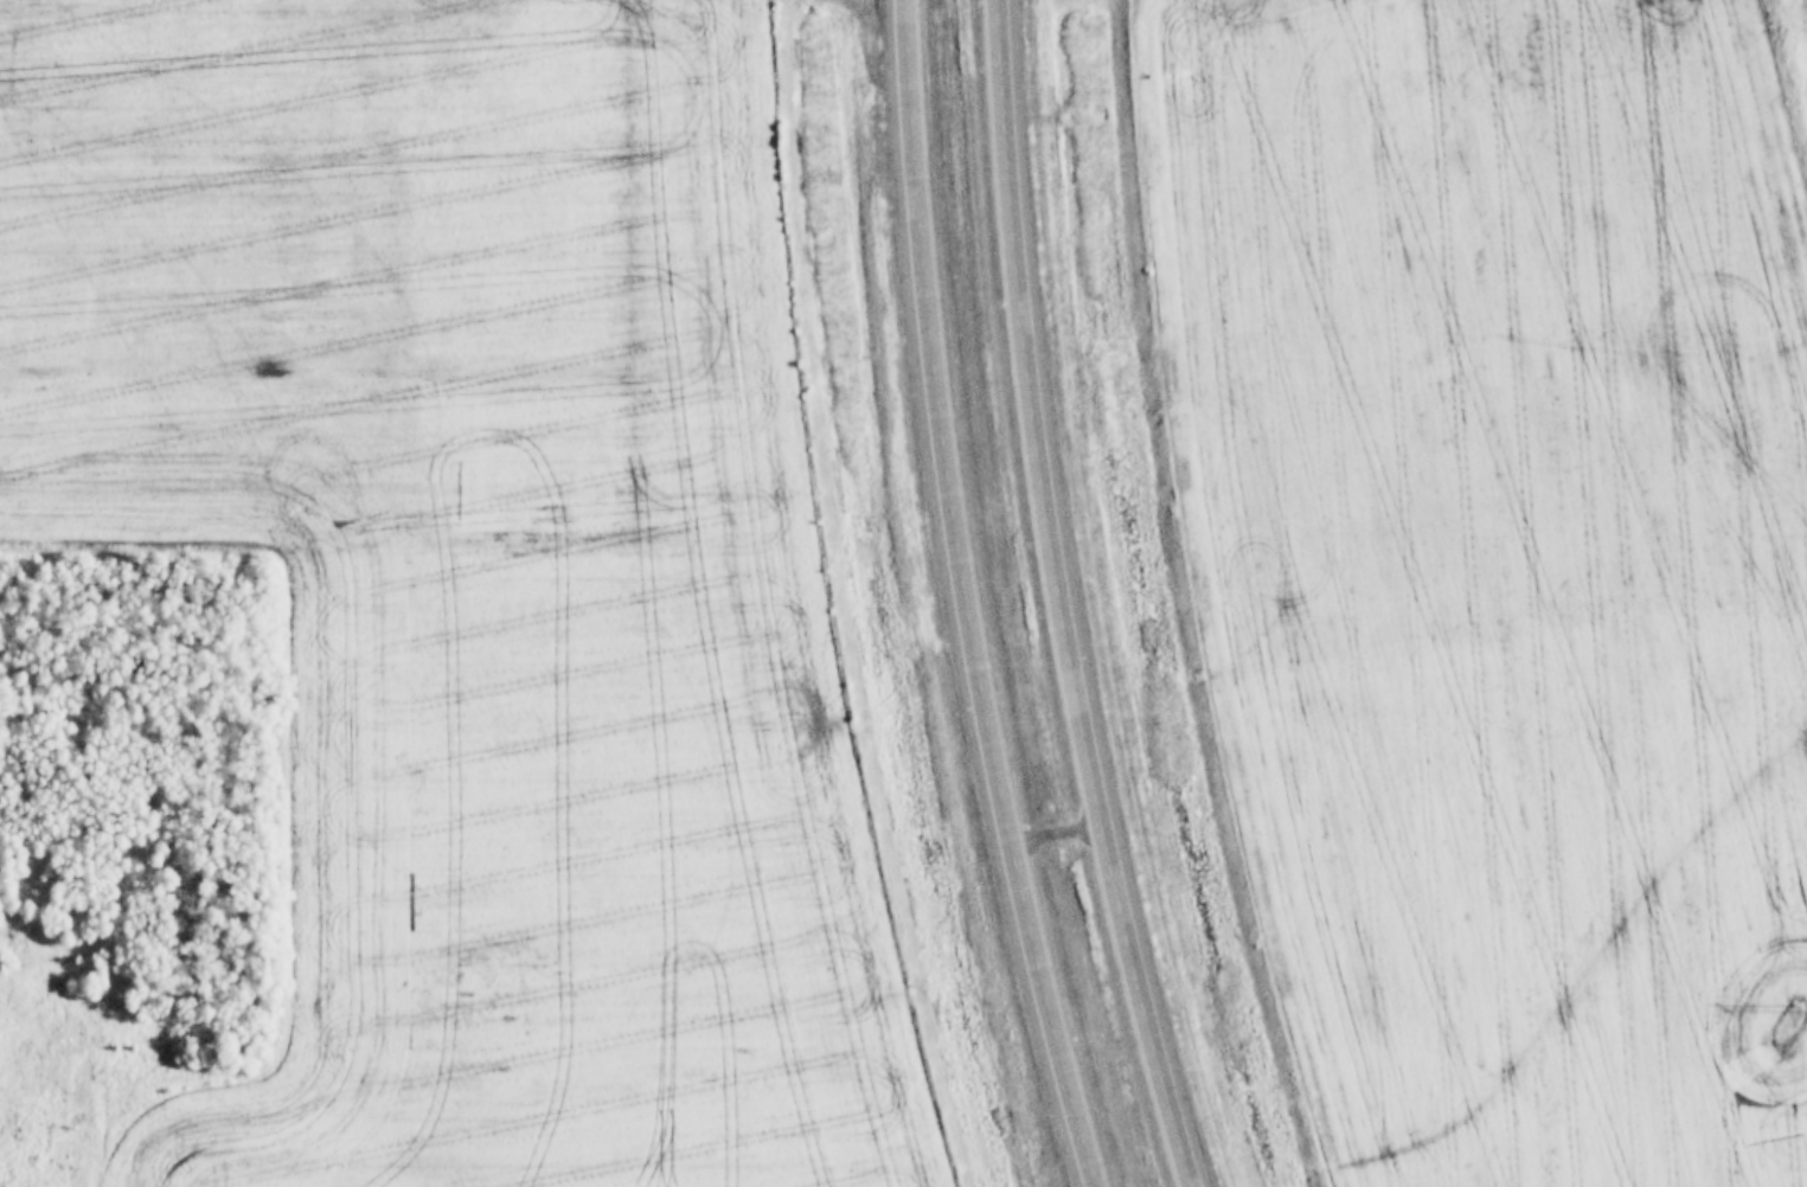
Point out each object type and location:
road: (974, 598)
road: (1061, 598)
power tower: (1788, 1012)

